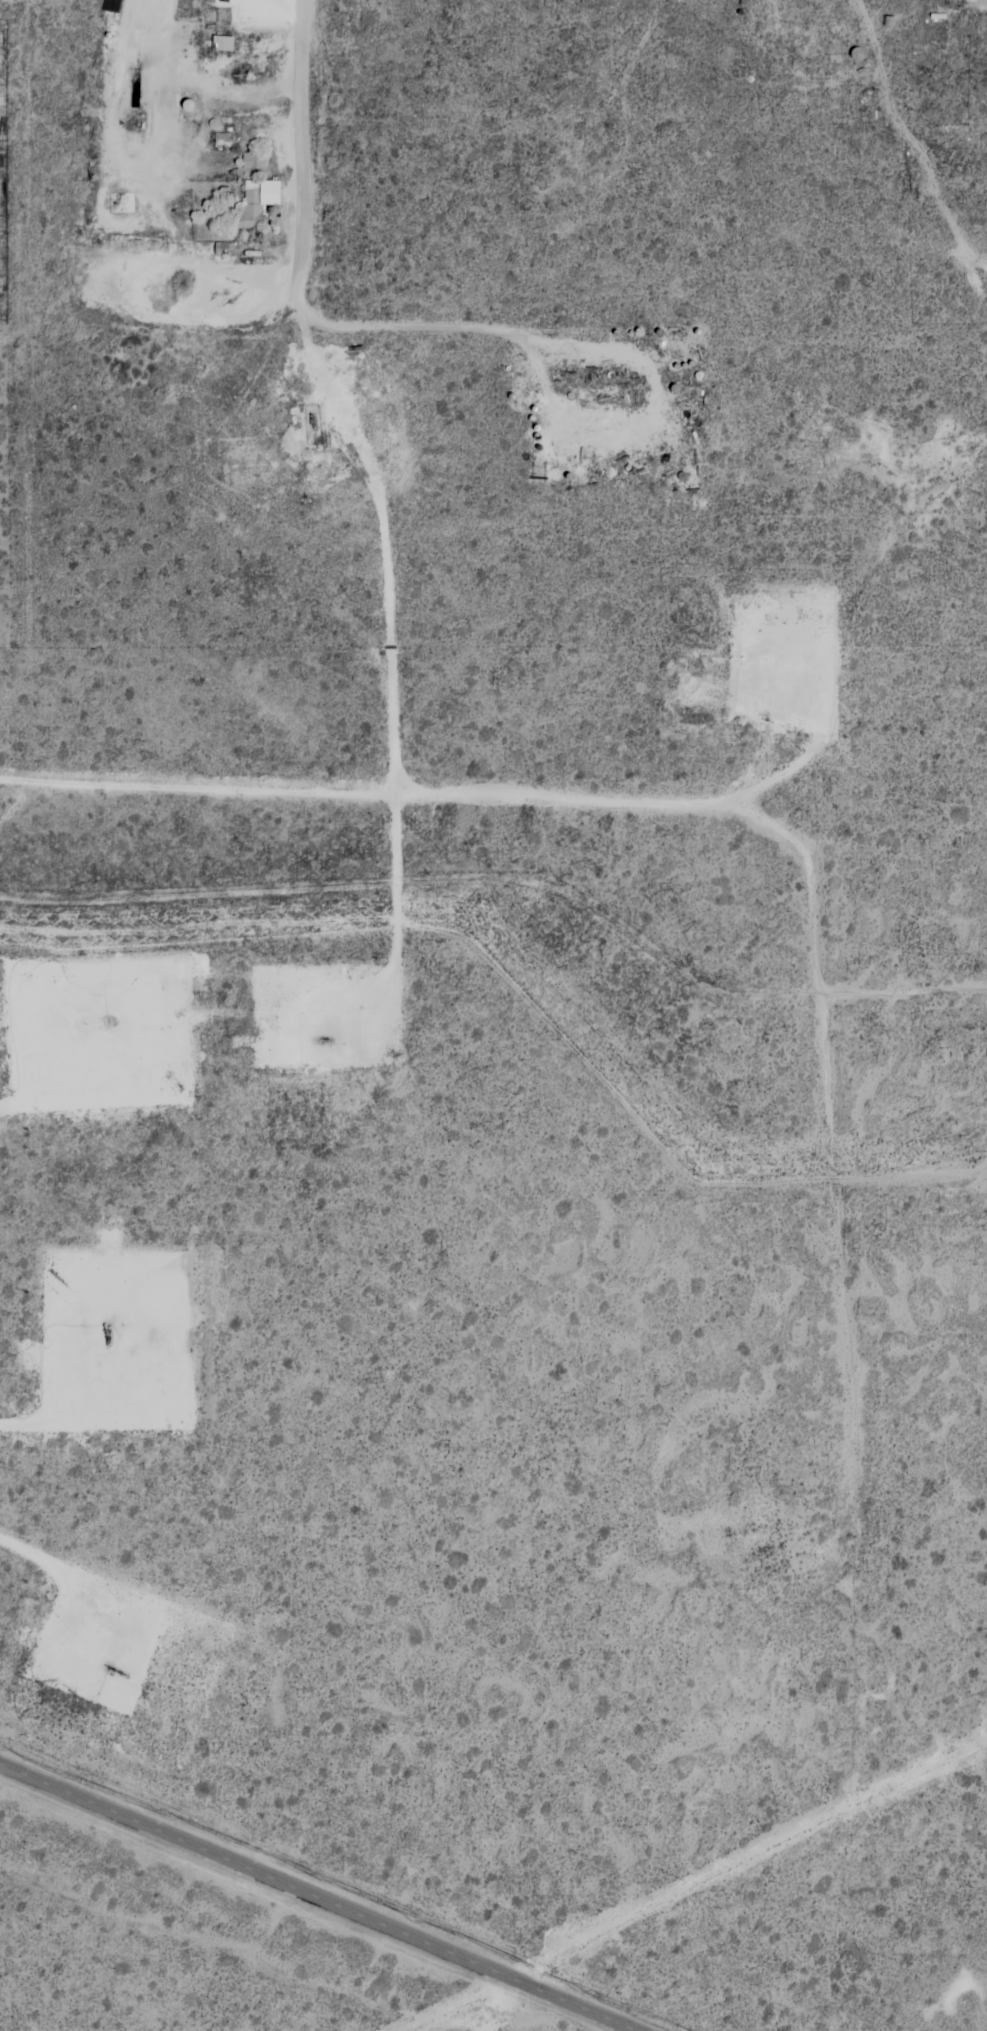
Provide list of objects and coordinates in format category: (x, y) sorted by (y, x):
building: (221, 44)
building: (222, 140)
road: (301, 140)
road: (889, 158)
building: (252, 161)
building: (256, 204)
road: (726, 807)
road: (319, 1898)

